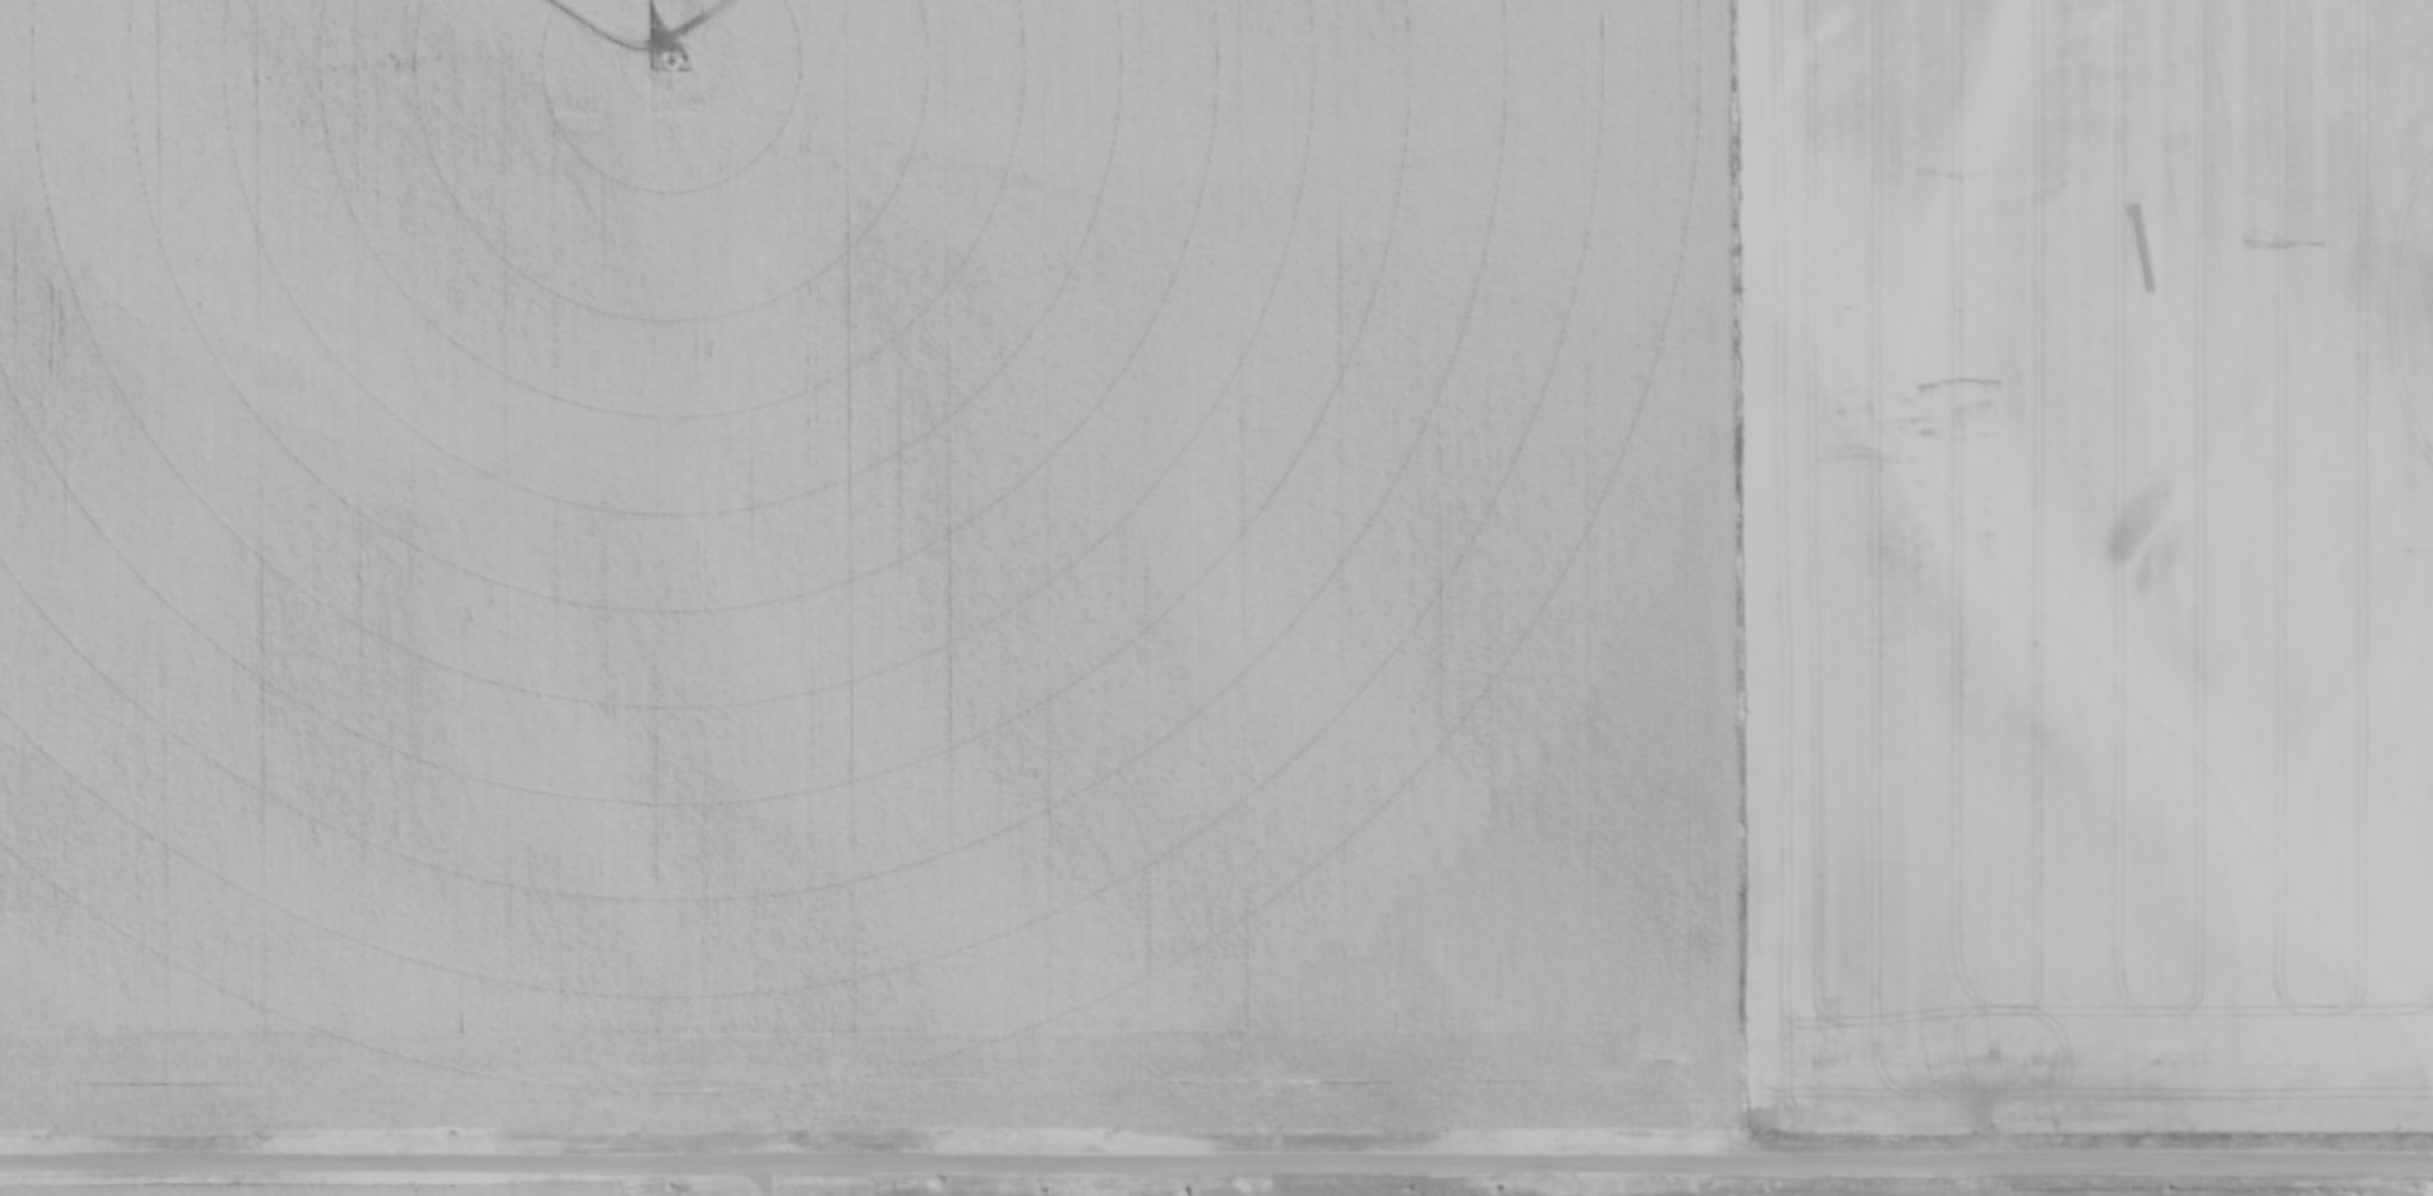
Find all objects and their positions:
road: (1216, 1167)

